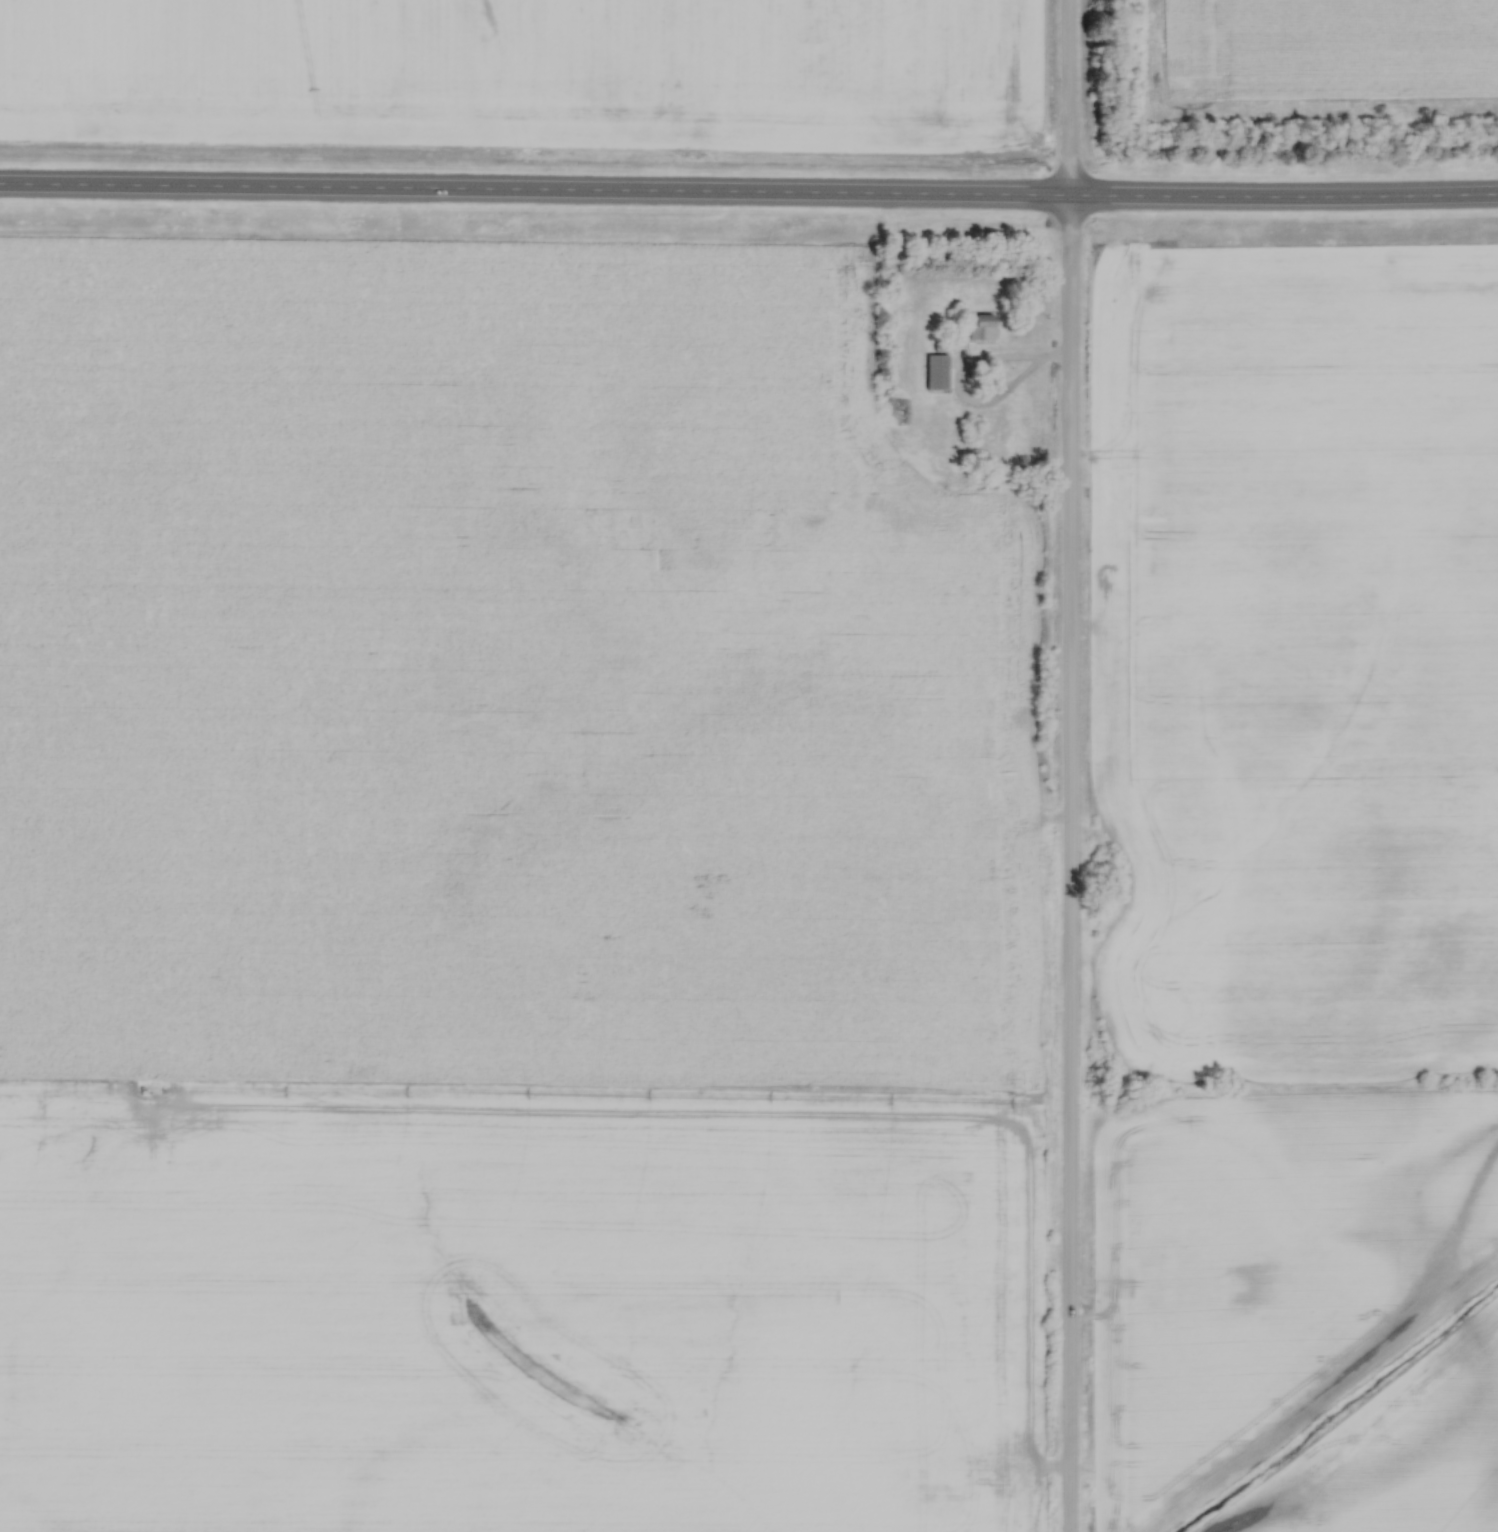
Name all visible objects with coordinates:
road: (749, 193)
building: (984, 326)
building: (939, 372)
road: (1067, 765)

